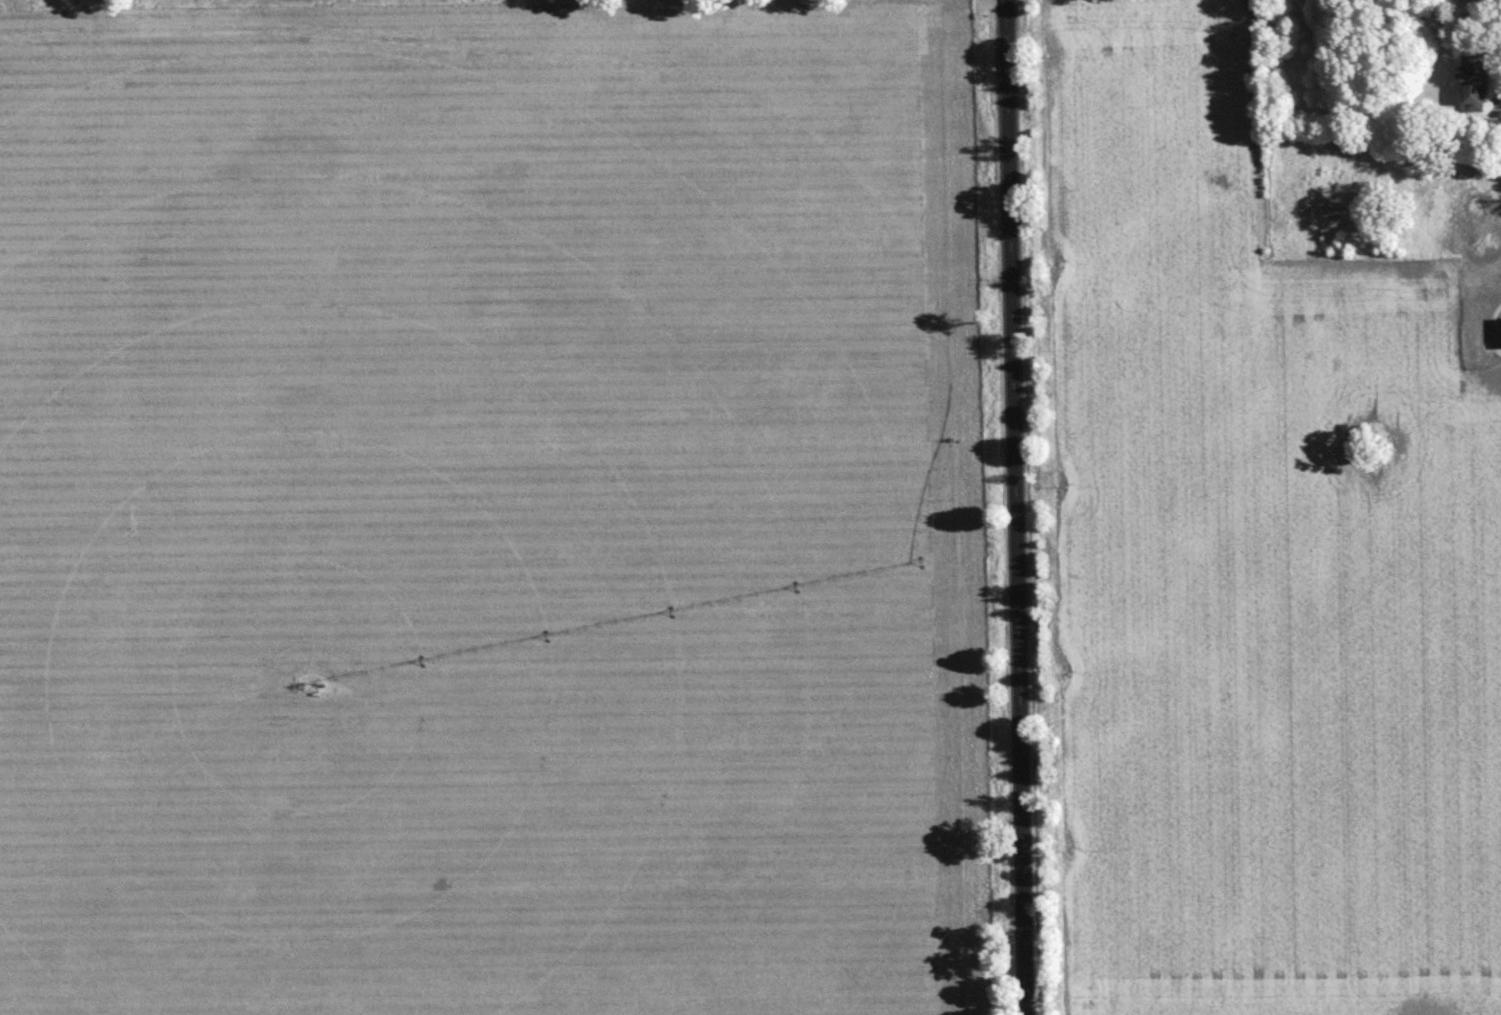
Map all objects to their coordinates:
building: (1470, 93)
building: (1497, 337)
road: (1015, 455)
road: (1023, 962)

